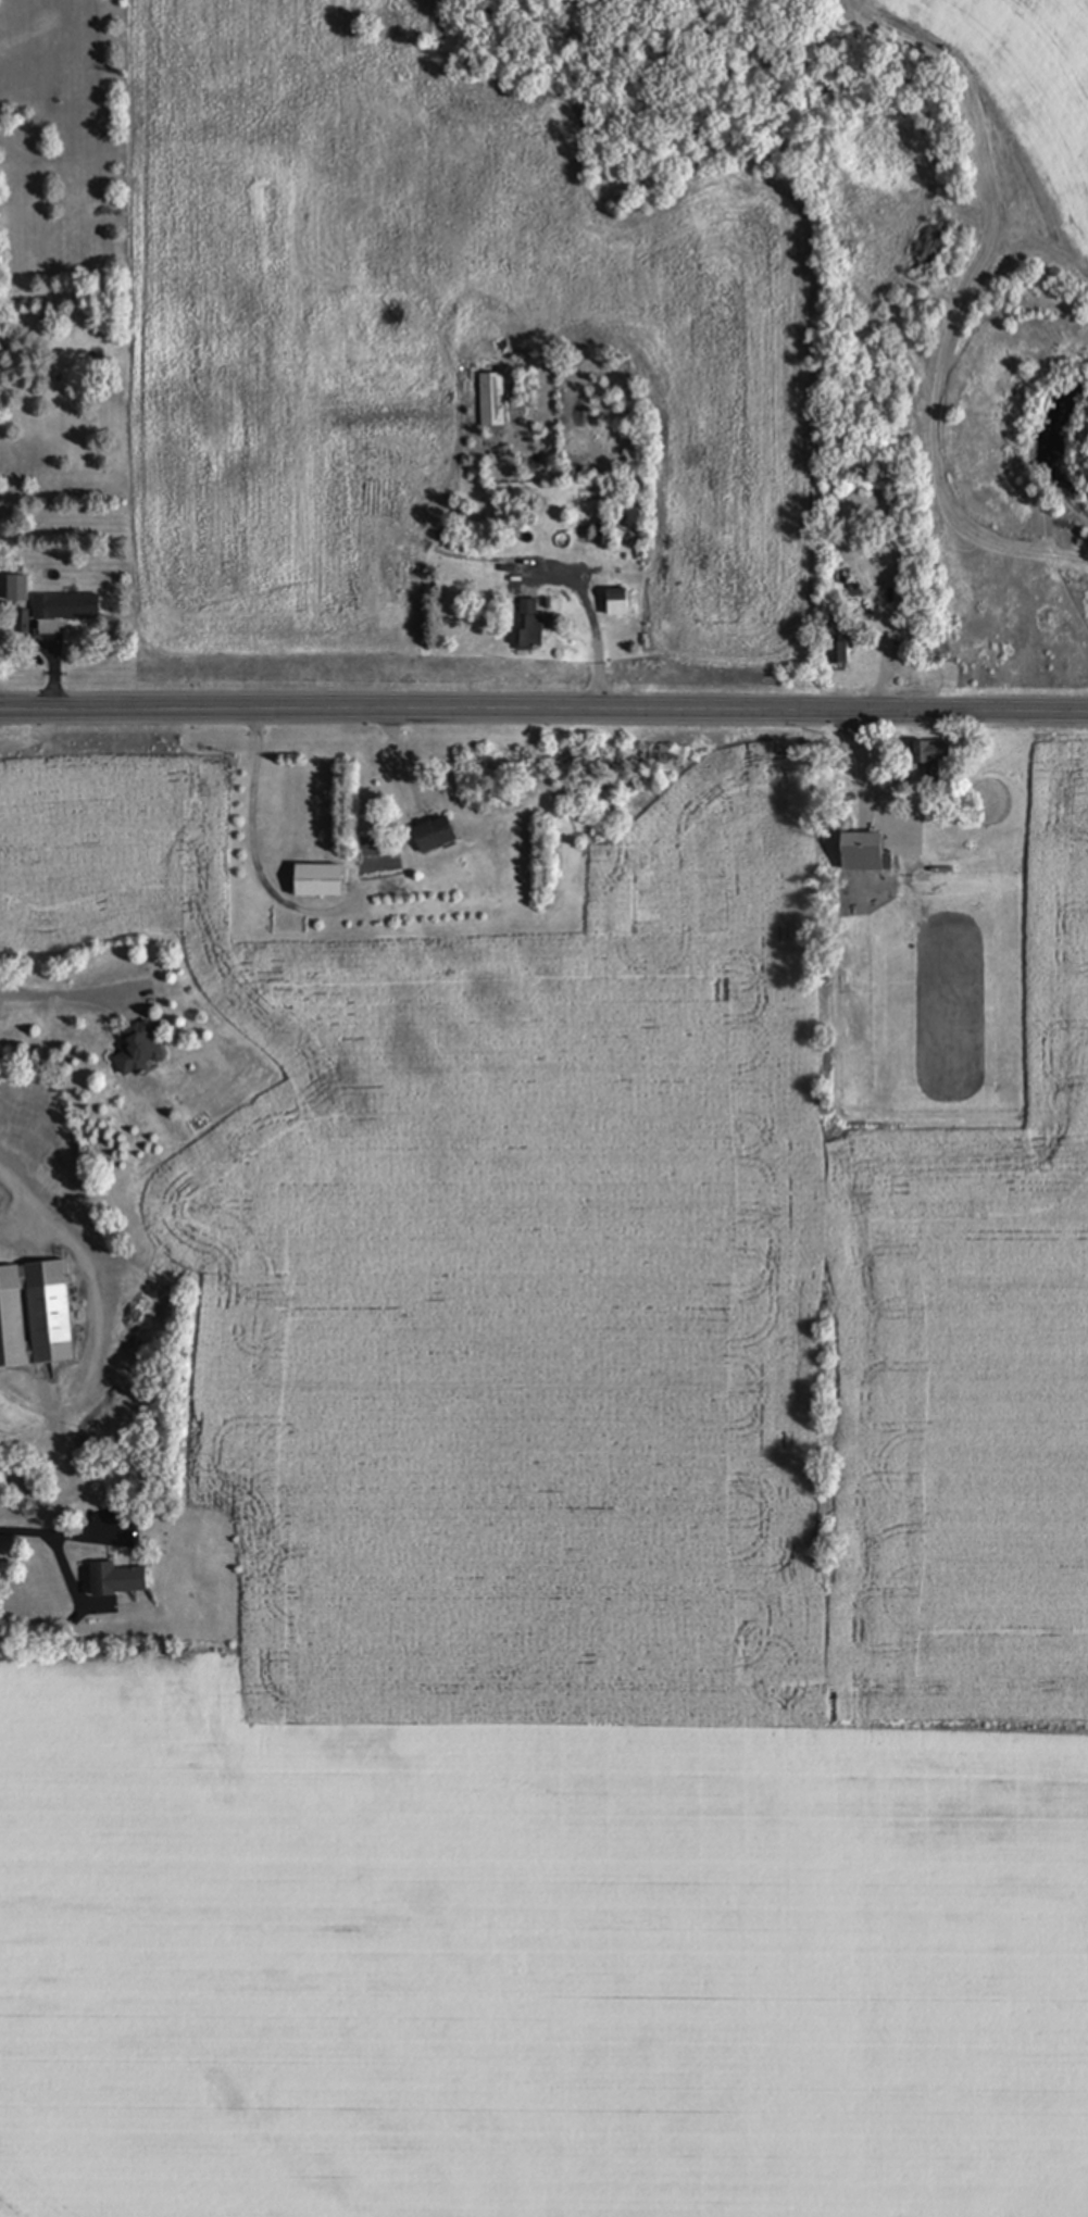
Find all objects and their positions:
building: (490, 402)
building: (601, 537)
building: (17, 589)
building: (617, 603)
building: (66, 608)
building: (530, 625)
building: (839, 654)
road: (593, 656)
road: (543, 715)
building: (933, 752)
road: (250, 834)
building: (435, 835)
building: (864, 853)
building: (318, 882)
road: (64, 997)
building: (139, 1051)
building: (0, 1201)
road: (89, 1274)
building: (36, 1317)
road: (57, 1535)
building: (107, 1579)
building: (168, 1582)

